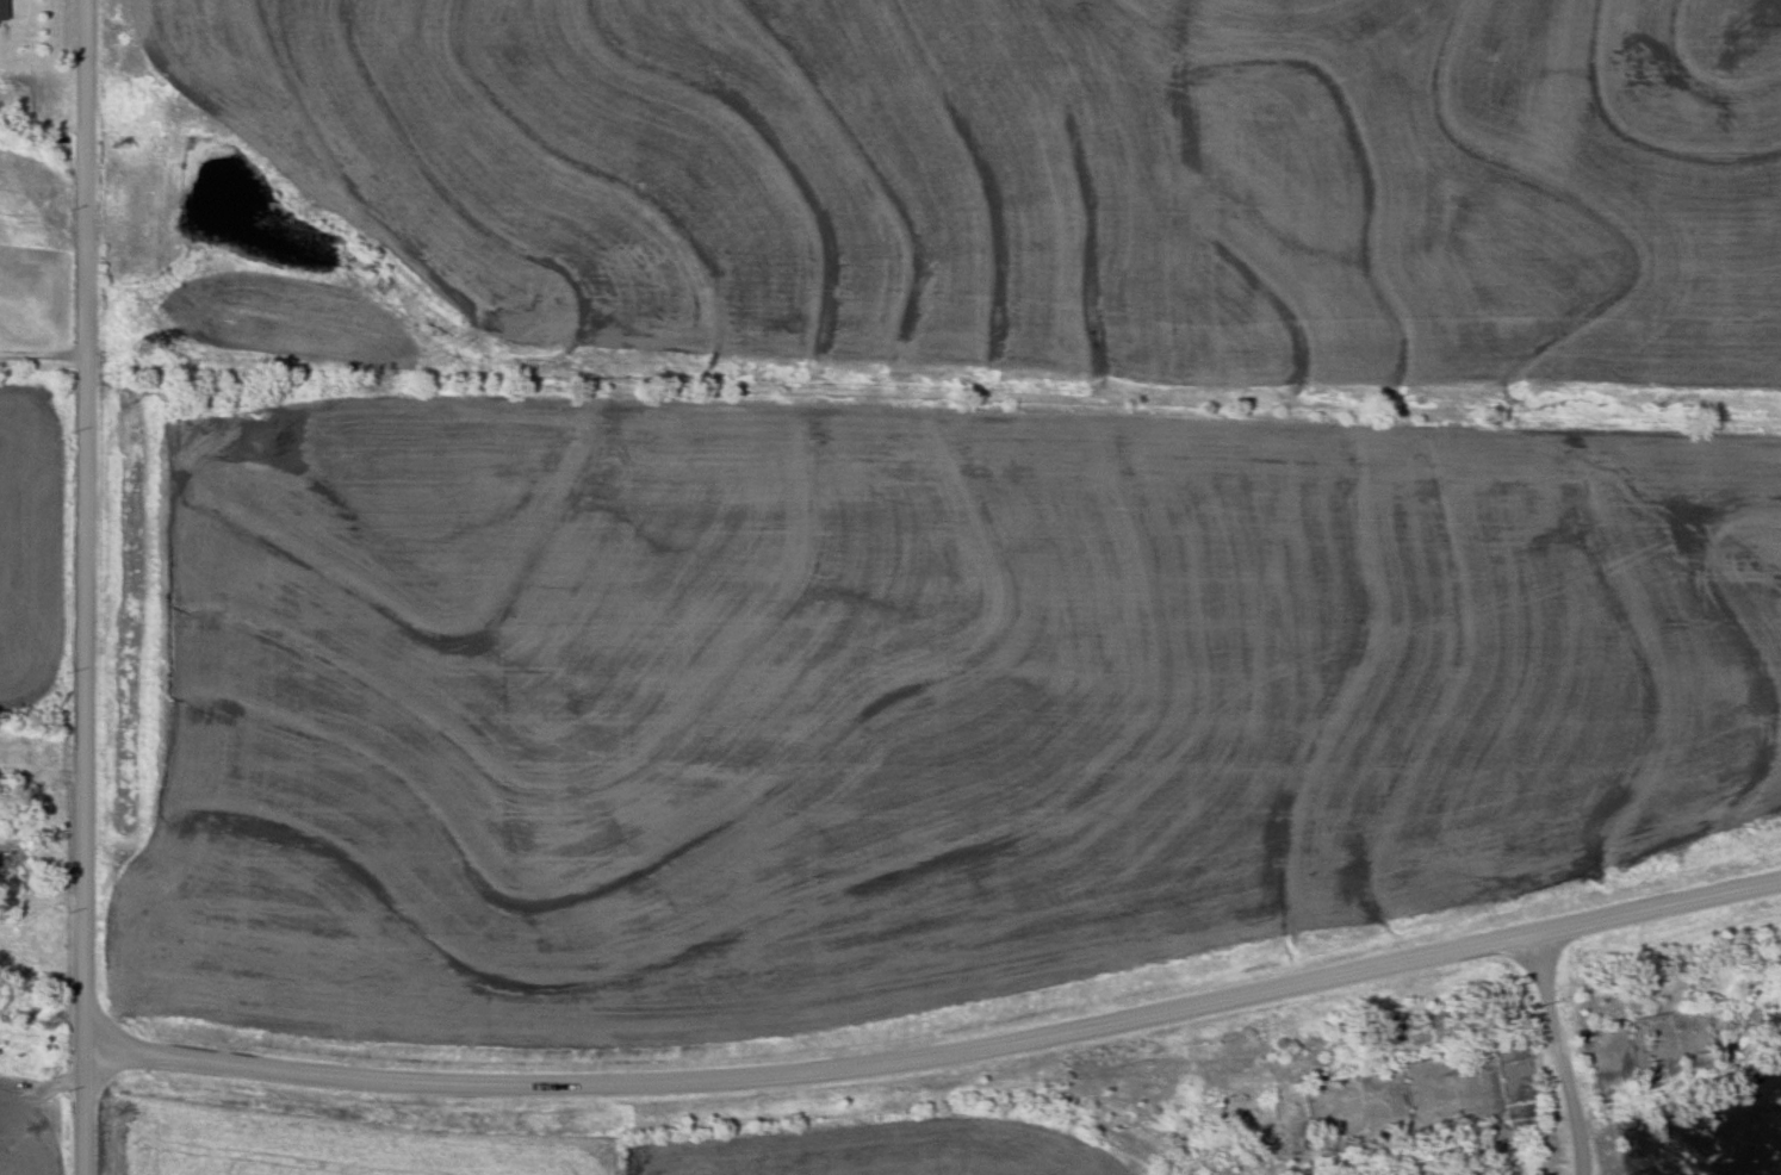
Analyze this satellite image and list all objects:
building: (4, 11)
crop: (1045, 178)
road: (45, 359)
crop: (29, 549)
road: (89, 587)
crop: (886, 698)
building: (13, 858)
road: (1558, 1056)
road: (942, 1058)
airport: (1023, 1126)
crop: (21, 1134)
crop: (875, 1151)

